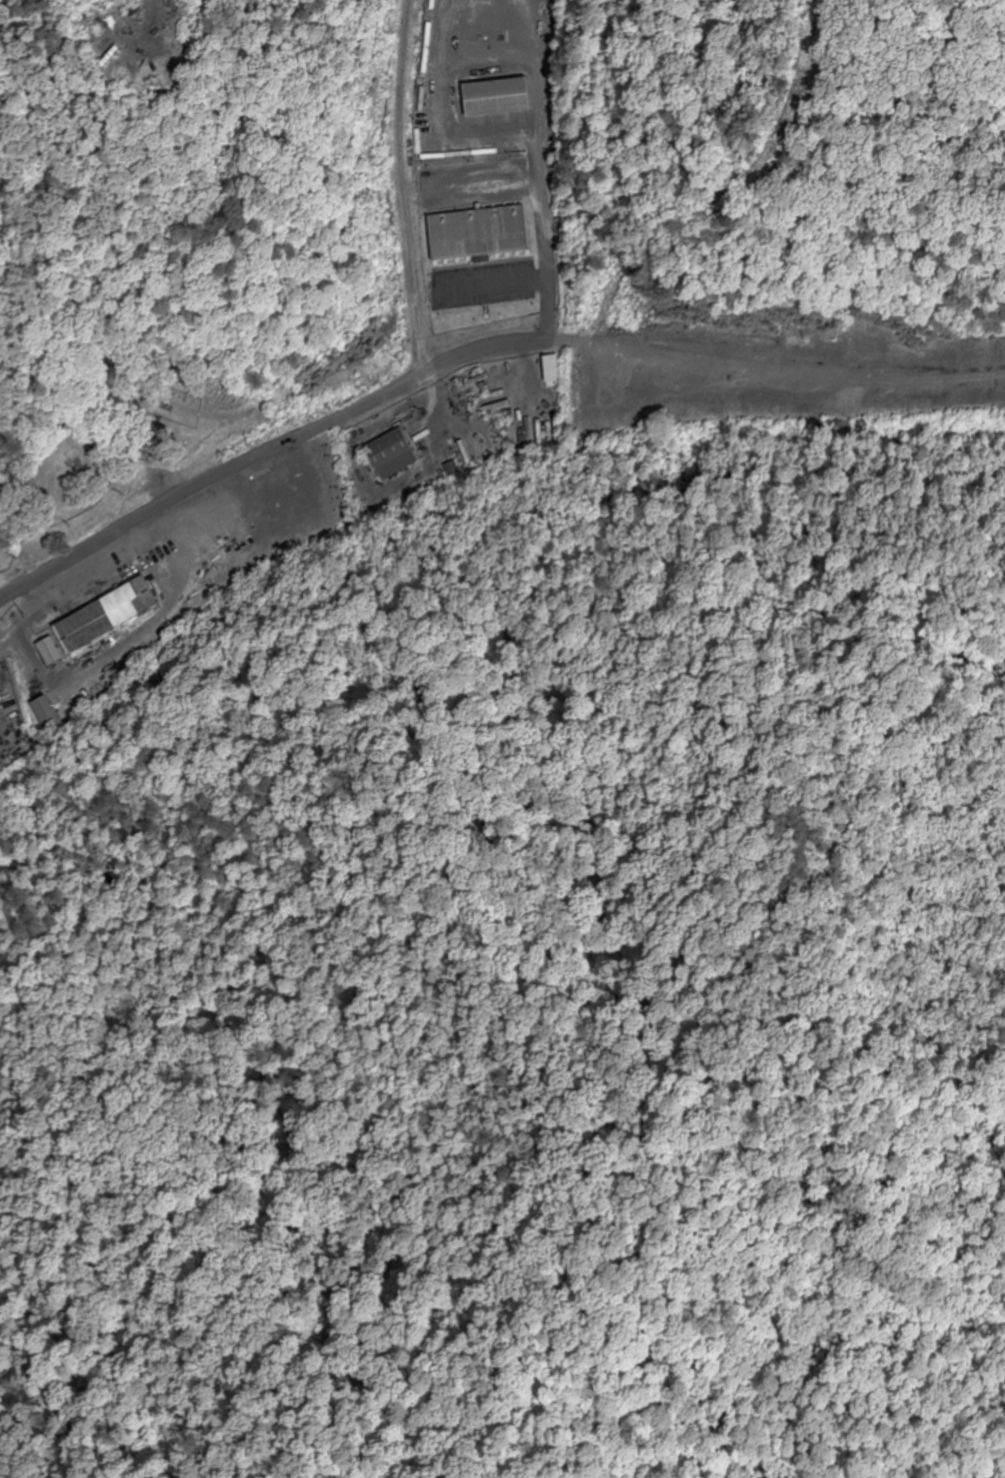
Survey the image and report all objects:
building: (499, 97)
building: (480, 234)
road: (478, 364)
building: (555, 372)
building: (394, 455)
building: (109, 617)
building: (52, 653)
building: (46, 709)

